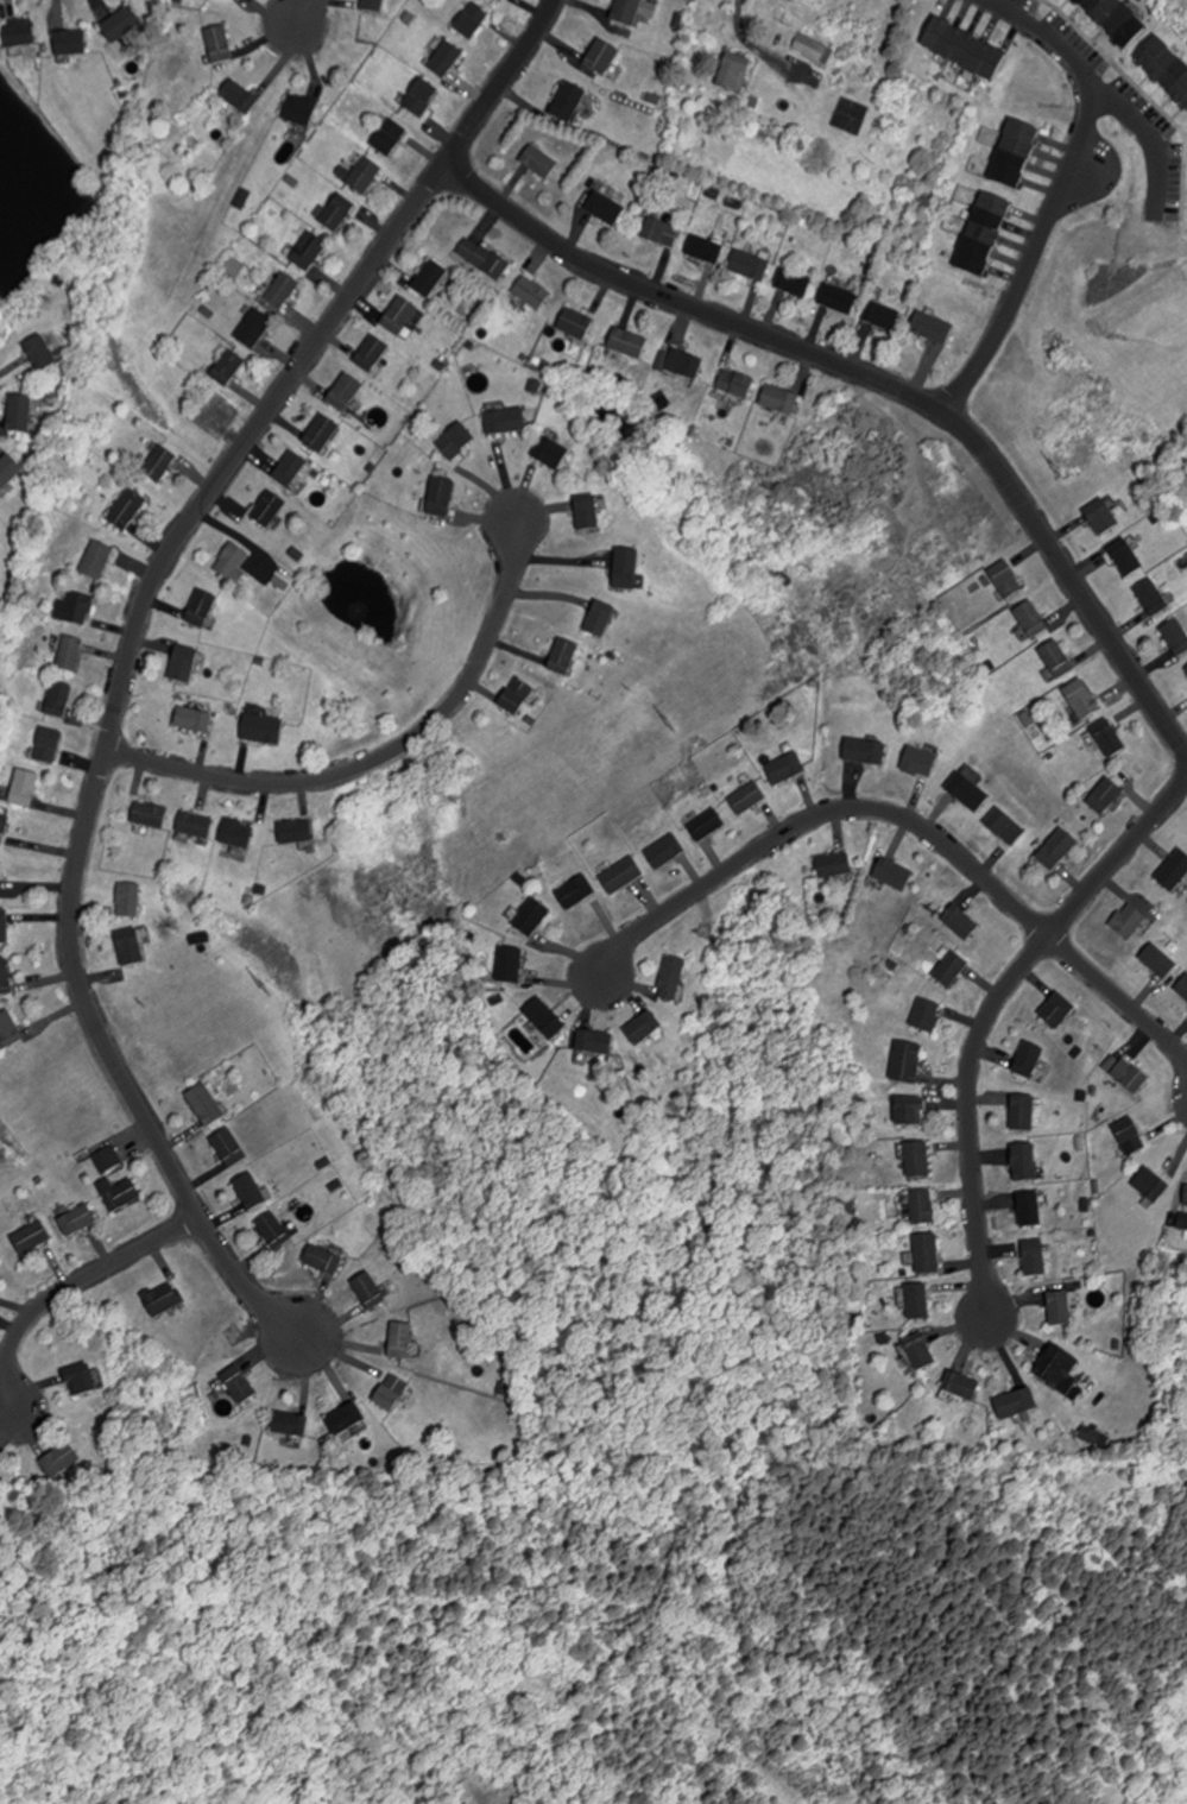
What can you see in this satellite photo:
building: (500, 0)
building: (373, 6)
road: (298, 14)
building: (632, 14)
road: (747, 15)
building: (1116, 20)
building: (473, 23)
building: (122, 26)
building: (19, 34)
building: (71, 44)
building: (220, 48)
building: (814, 49)
building: (965, 51)
building: (602, 58)
building: (447, 62)
building: (1167, 71)
building: (734, 76)
road: (1107, 90)
building: (240, 100)
building: (422, 100)
building: (569, 105)
building: (301, 112)
building: (390, 139)
building: (1016, 156)
building: (539, 164)
building: (365, 177)
building: (606, 208)
building: (339, 213)
building: (663, 232)
building: (984, 233)
building: (706, 250)
building: (310, 252)
road: (1031, 254)
building: (485, 258)
building: (751, 265)
building: (430, 278)
building: (795, 283)
building: (284, 290)
building: (532, 292)
building: (840, 298)
building: (400, 315)
building: (883, 316)
building: (576, 323)
building: (933, 327)
building: (255, 328)
building: (629, 343)
building: (40, 353)
building: (373, 353)
building: (682, 364)
building: (228, 367)
road: (882, 379)
building: (737, 384)
building: (346, 392)
building: (781, 399)
building: (20, 414)
building: (506, 421)
building: (322, 433)
building: (457, 441)
building: (551, 453)
building: (160, 463)
power tower: (1062, 466)
building: (291, 468)
building: (8, 471)
building: (442, 497)
building: (127, 509)
building: (270, 509)
building: (588, 513)
building: (1103, 516)
building: (1126, 556)
building: (97, 561)
building: (233, 563)
building: (627, 569)
building: (1006, 579)
building: (1154, 599)
building: (80, 608)
building: (202, 608)
building: (1033, 619)
building: (600, 622)
building: (1176, 635)
road: (133, 646)
building: (70, 655)
building: (564, 656)
building: (1057, 658)
building: (184, 664)
building: (517, 695)
building: (1082, 699)
building: (59, 700)
building: (195, 720)
power tower: (674, 721)
building: (263, 728)
building: (1110, 737)
building: (49, 745)
building: (865, 752)
road: (386, 753)
building: (920, 761)
building: (787, 769)
building: (24, 789)
building: (968, 791)
building: (1106, 796)
building: (750, 799)
road: (820, 812)
building: (150, 814)
building: (195, 825)
building: (707, 825)
building: (4, 827)
building: (1006, 827)
building: (296, 832)
building: (238, 833)
building: (665, 850)
building: (1057, 850)
building: (834, 865)
building: (1174, 870)
building: (621, 875)
building: (894, 875)
building: (0, 885)
building: (576, 891)
building: (130, 900)
building: (1161, 908)
building: (531, 917)
building: (844, 921)
building: (961, 921)
building: (1129, 921)
building: (4, 927)
building: (131, 947)
building: (1160, 960)
building: (511, 966)
building: (952, 969)
building: (5, 978)
building: (673, 978)
building: (1183, 986)
power tower: (270, 988)
road: (1119, 995)
building: (1059, 1009)
building: (926, 1016)
road: (987, 1016)
building: (545, 1017)
building: (644, 1028)
building: (10, 1030)
building: (595, 1042)
building: (1029, 1059)
building: (907, 1061)
building: (1131, 1076)
building: (206, 1105)
building: (910, 1110)
building: (1024, 1112)
building: (1130, 1136)
building: (229, 1148)
building: (108, 1158)
building: (918, 1159)
building: (1025, 1163)
building: (1154, 1185)
building: (128, 1188)
building: (1186, 1198)
building: (923, 1206)
building: (1030, 1210)
building: (87, 1218)
building: (1185, 1220)
building: (36, 1231)
building: (274, 1231)
building: (927, 1254)
building: (1035, 1257)
building: (324, 1261)
road: (65, 1287)
building: (370, 1291)
building: (166, 1297)
building: (918, 1301)
building: (1060, 1308)
building: (400, 1342)
building: (921, 1351)
building: (1053, 1364)
building: (86, 1380)
building: (239, 1384)
building: (961, 1386)
building: (391, 1392)
building: (1017, 1402)
building: (346, 1419)
building: (292, 1421)
building: (1091, 1436)
building: (69, 1468)

